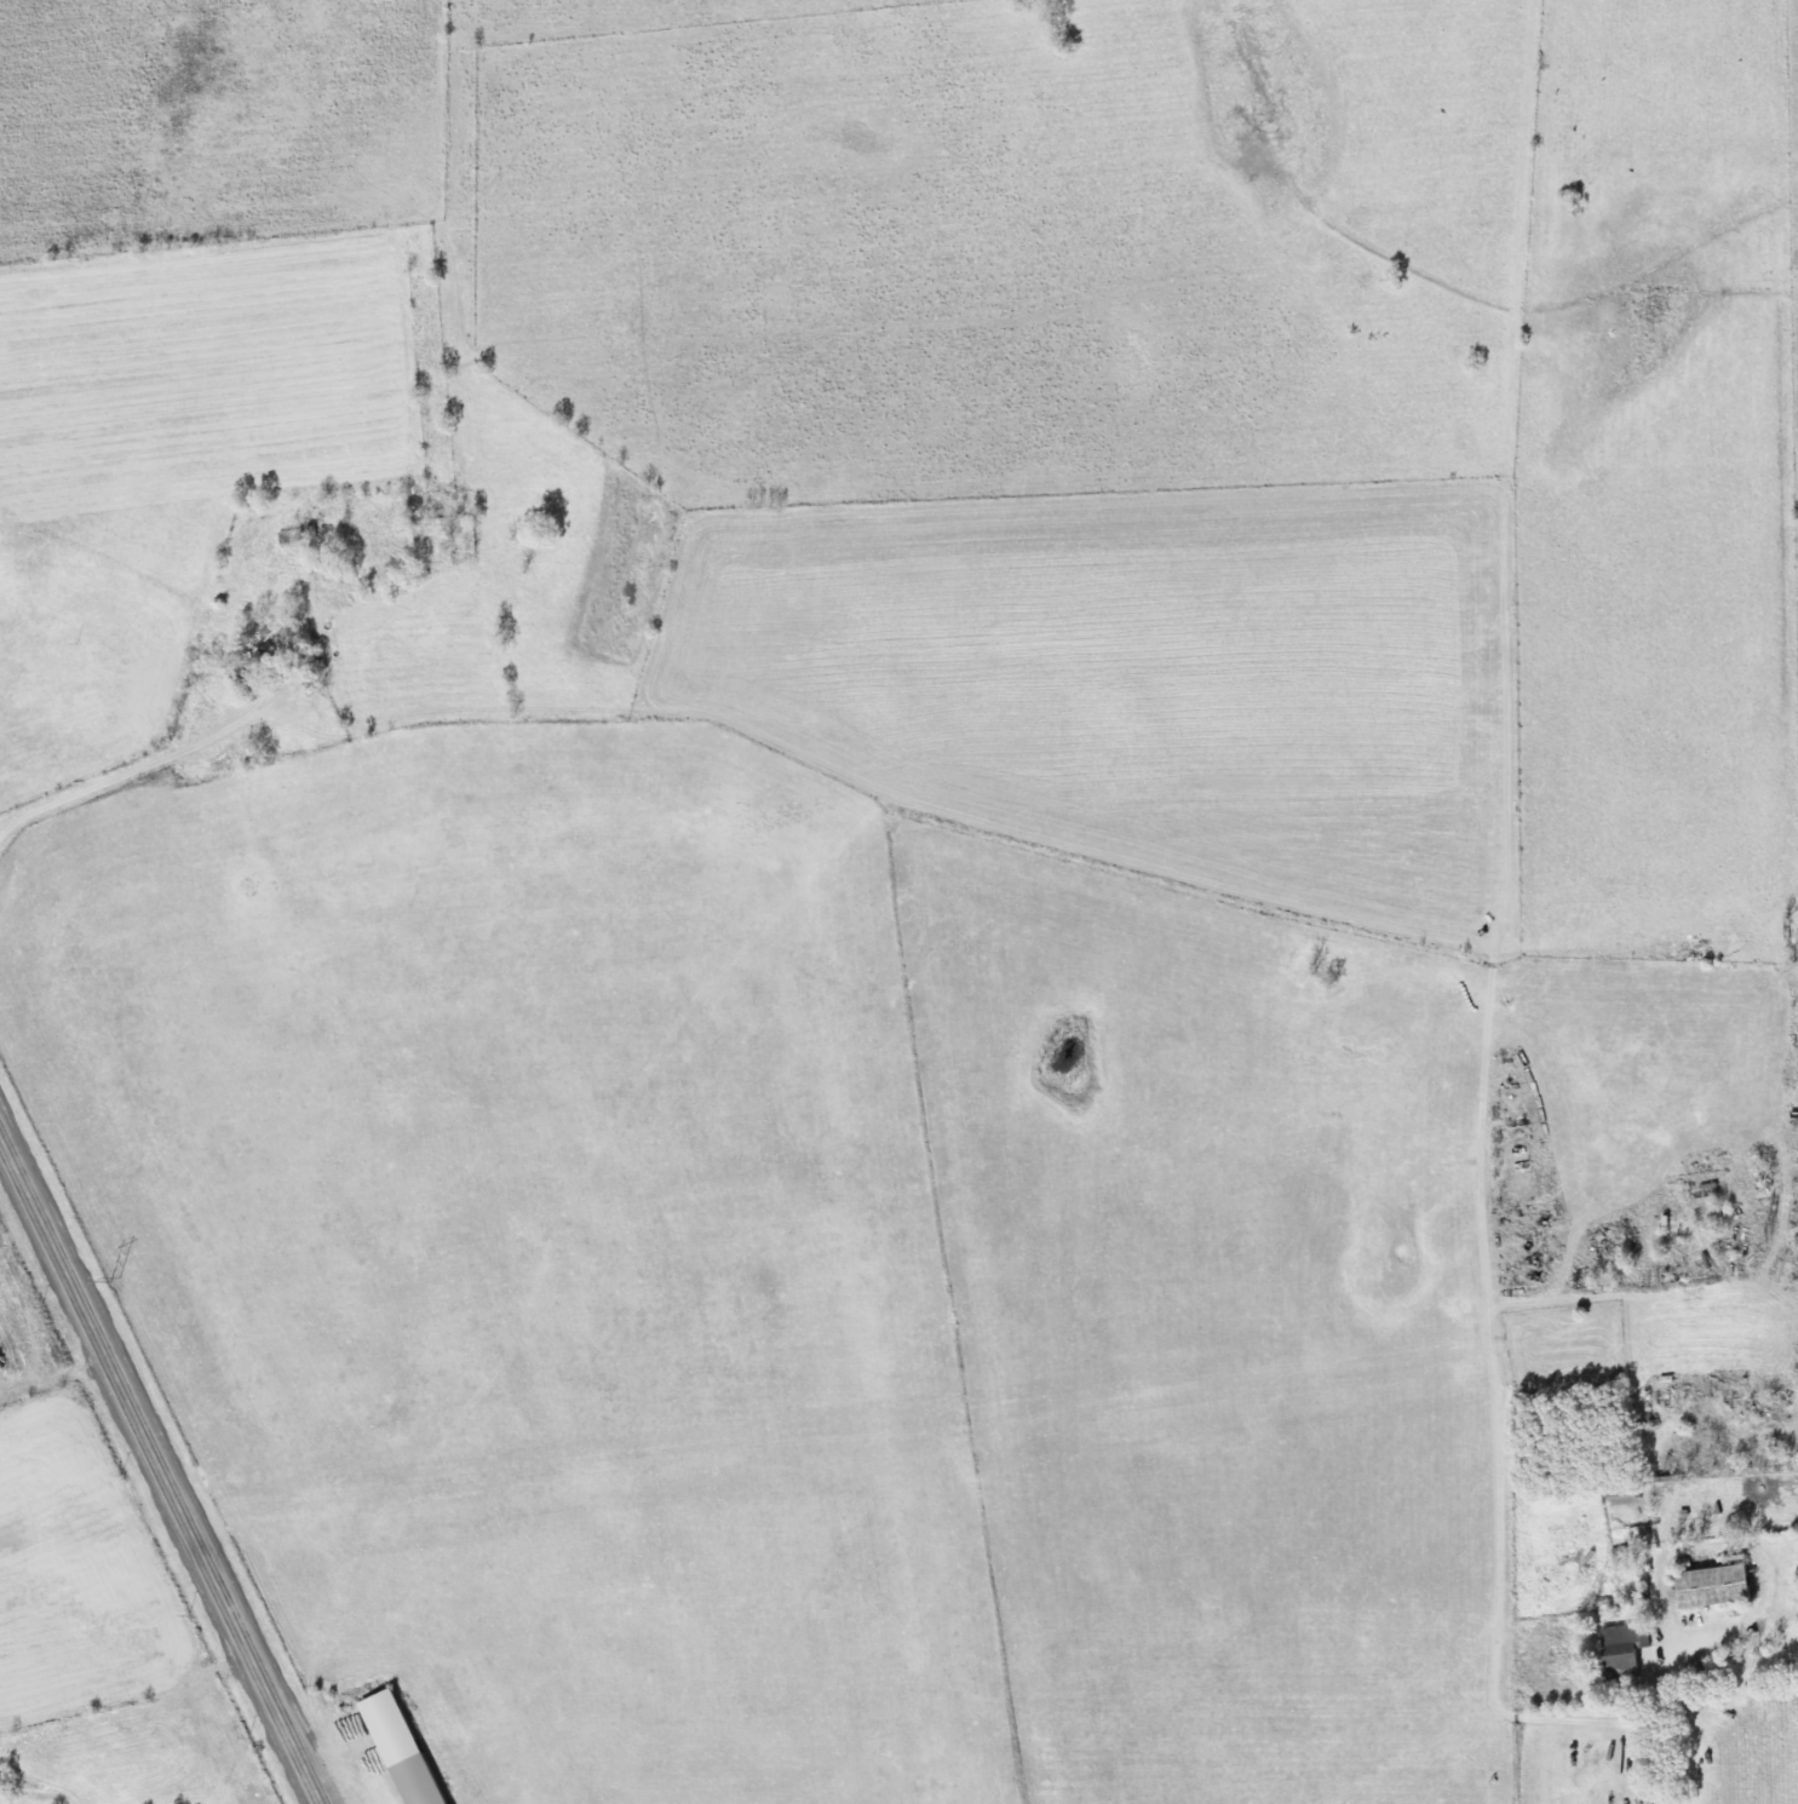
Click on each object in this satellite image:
building: (243, 663)
road: (1499, 879)
power tower: (113, 1277)
road: (161, 1470)
building: (1705, 1586)
building: (1615, 1649)
road: (1597, 1718)
road: (1653, 1735)
building: (395, 1747)

